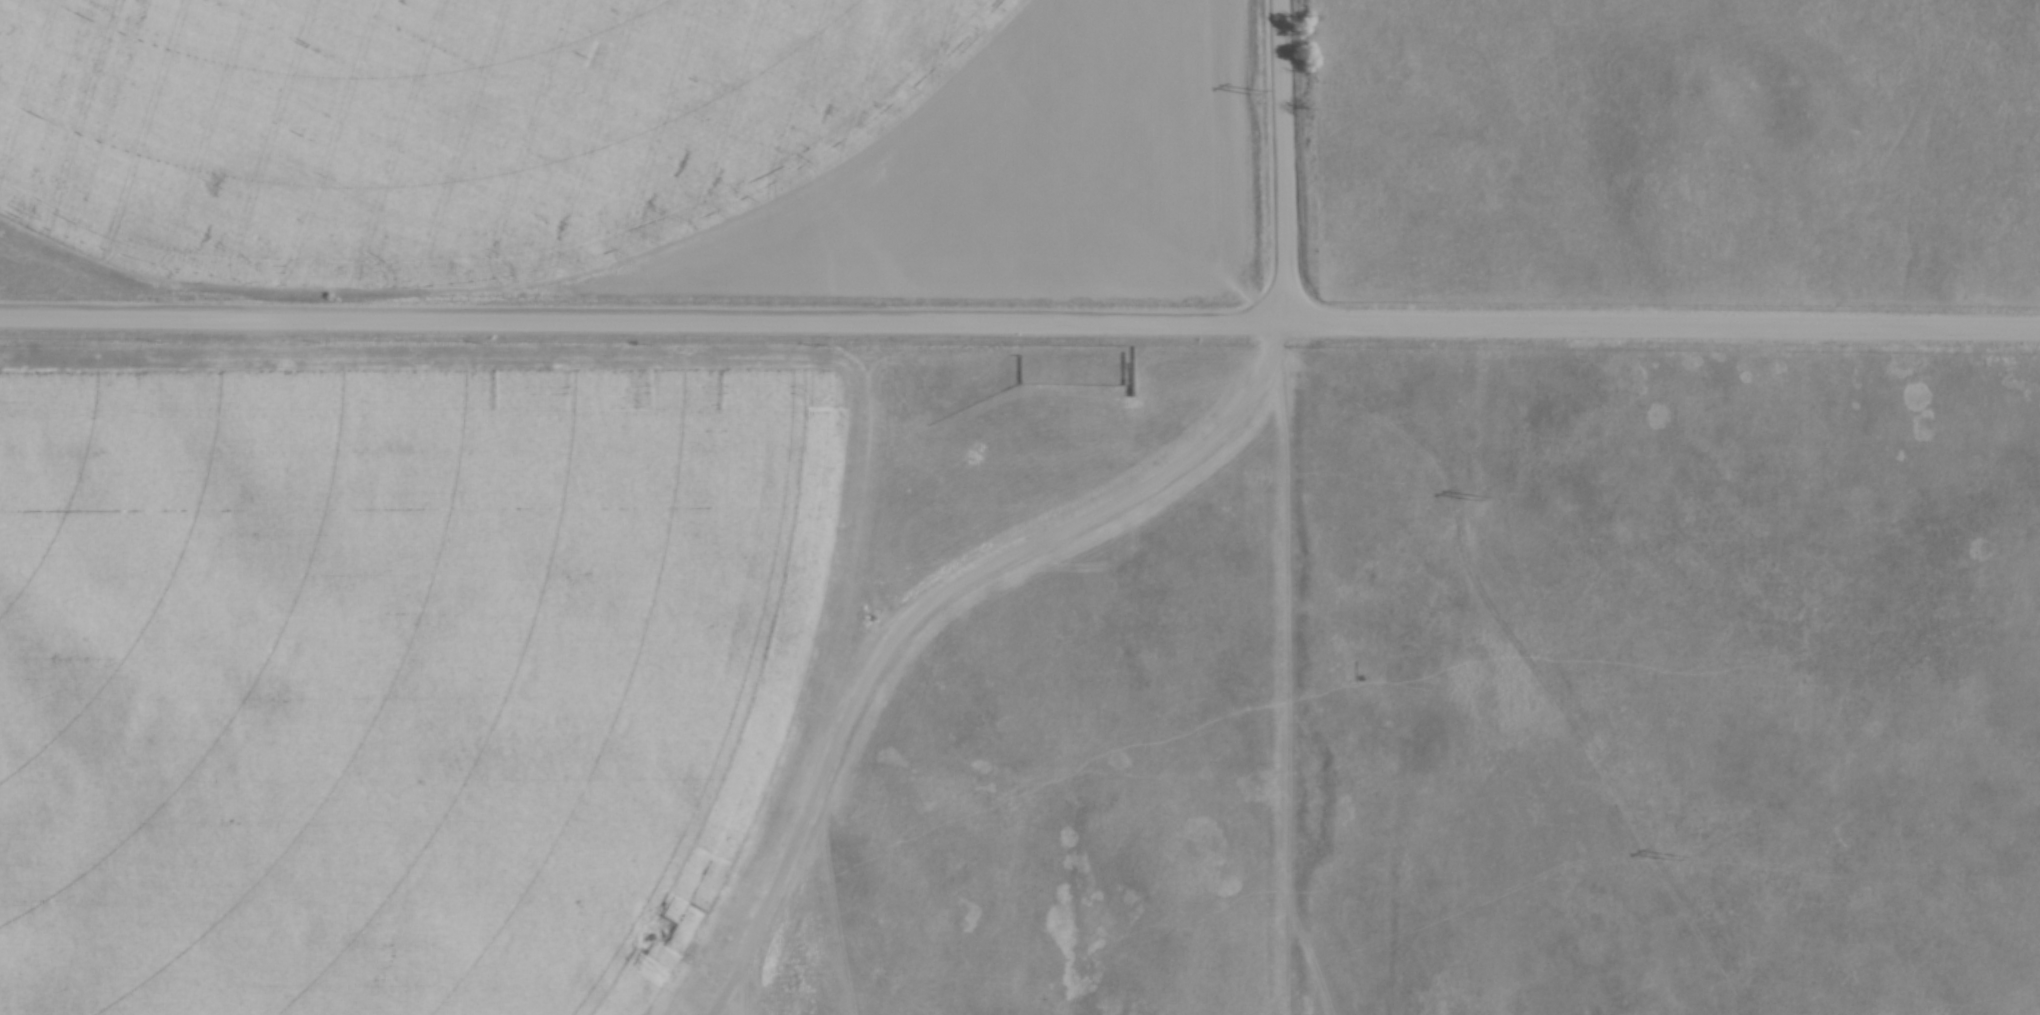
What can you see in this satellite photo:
power tower: (1252, 91)
crop: (635, 141)
road: (1286, 160)
road: (1020, 319)
power tower: (1471, 492)
crop: (403, 682)
power tower: (1670, 856)

